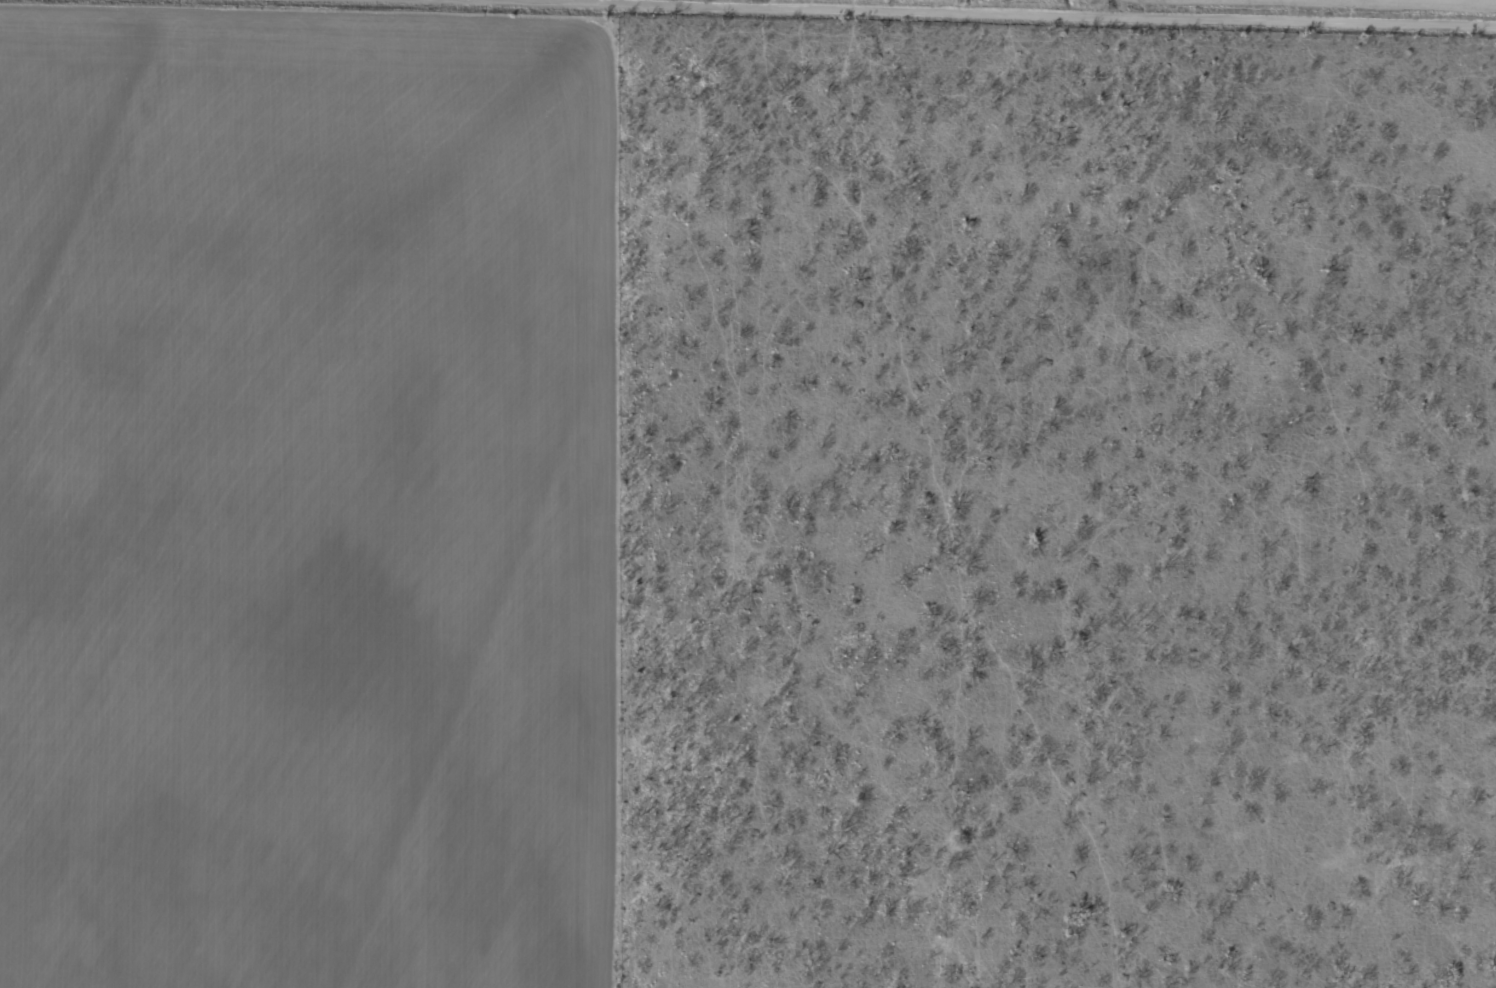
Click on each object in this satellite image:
road: (1053, 12)

